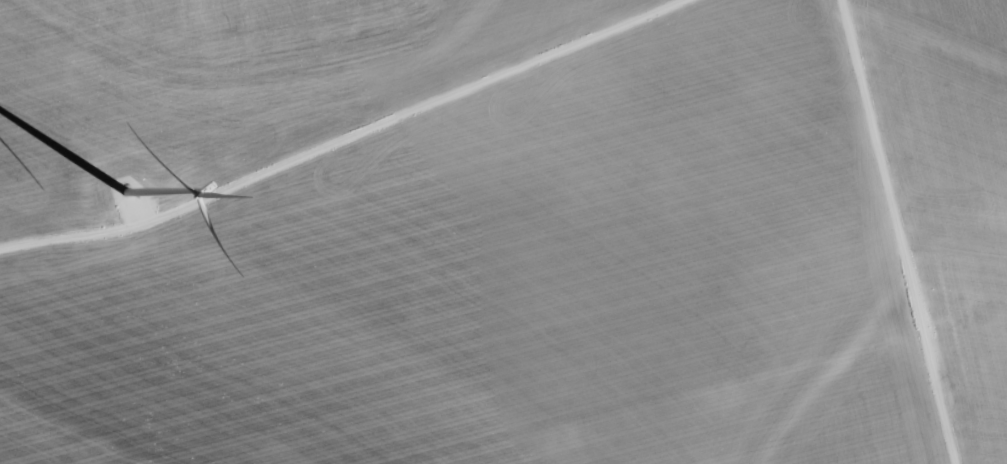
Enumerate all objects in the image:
wind turbine: (120, 193)

